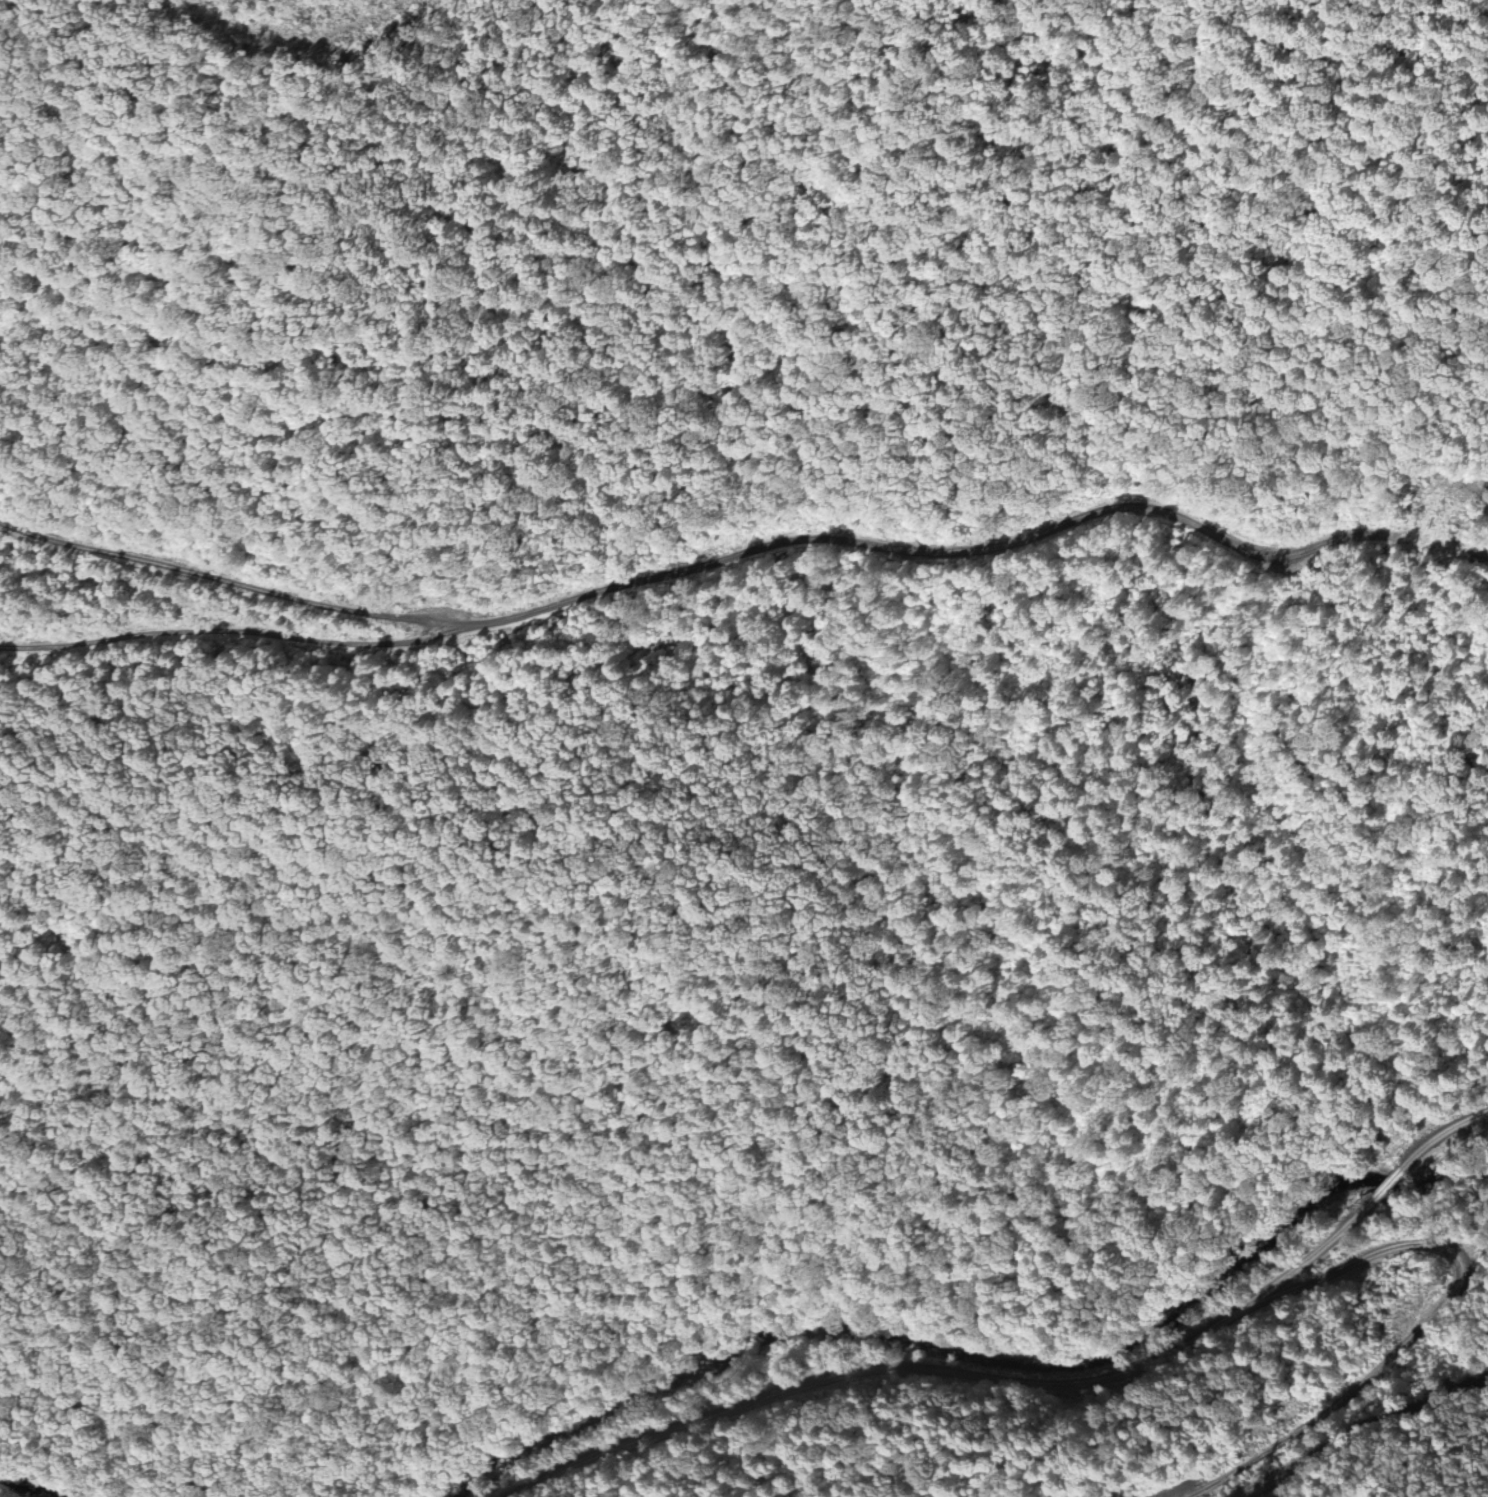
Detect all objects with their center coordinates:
road: (1031, 1378)

